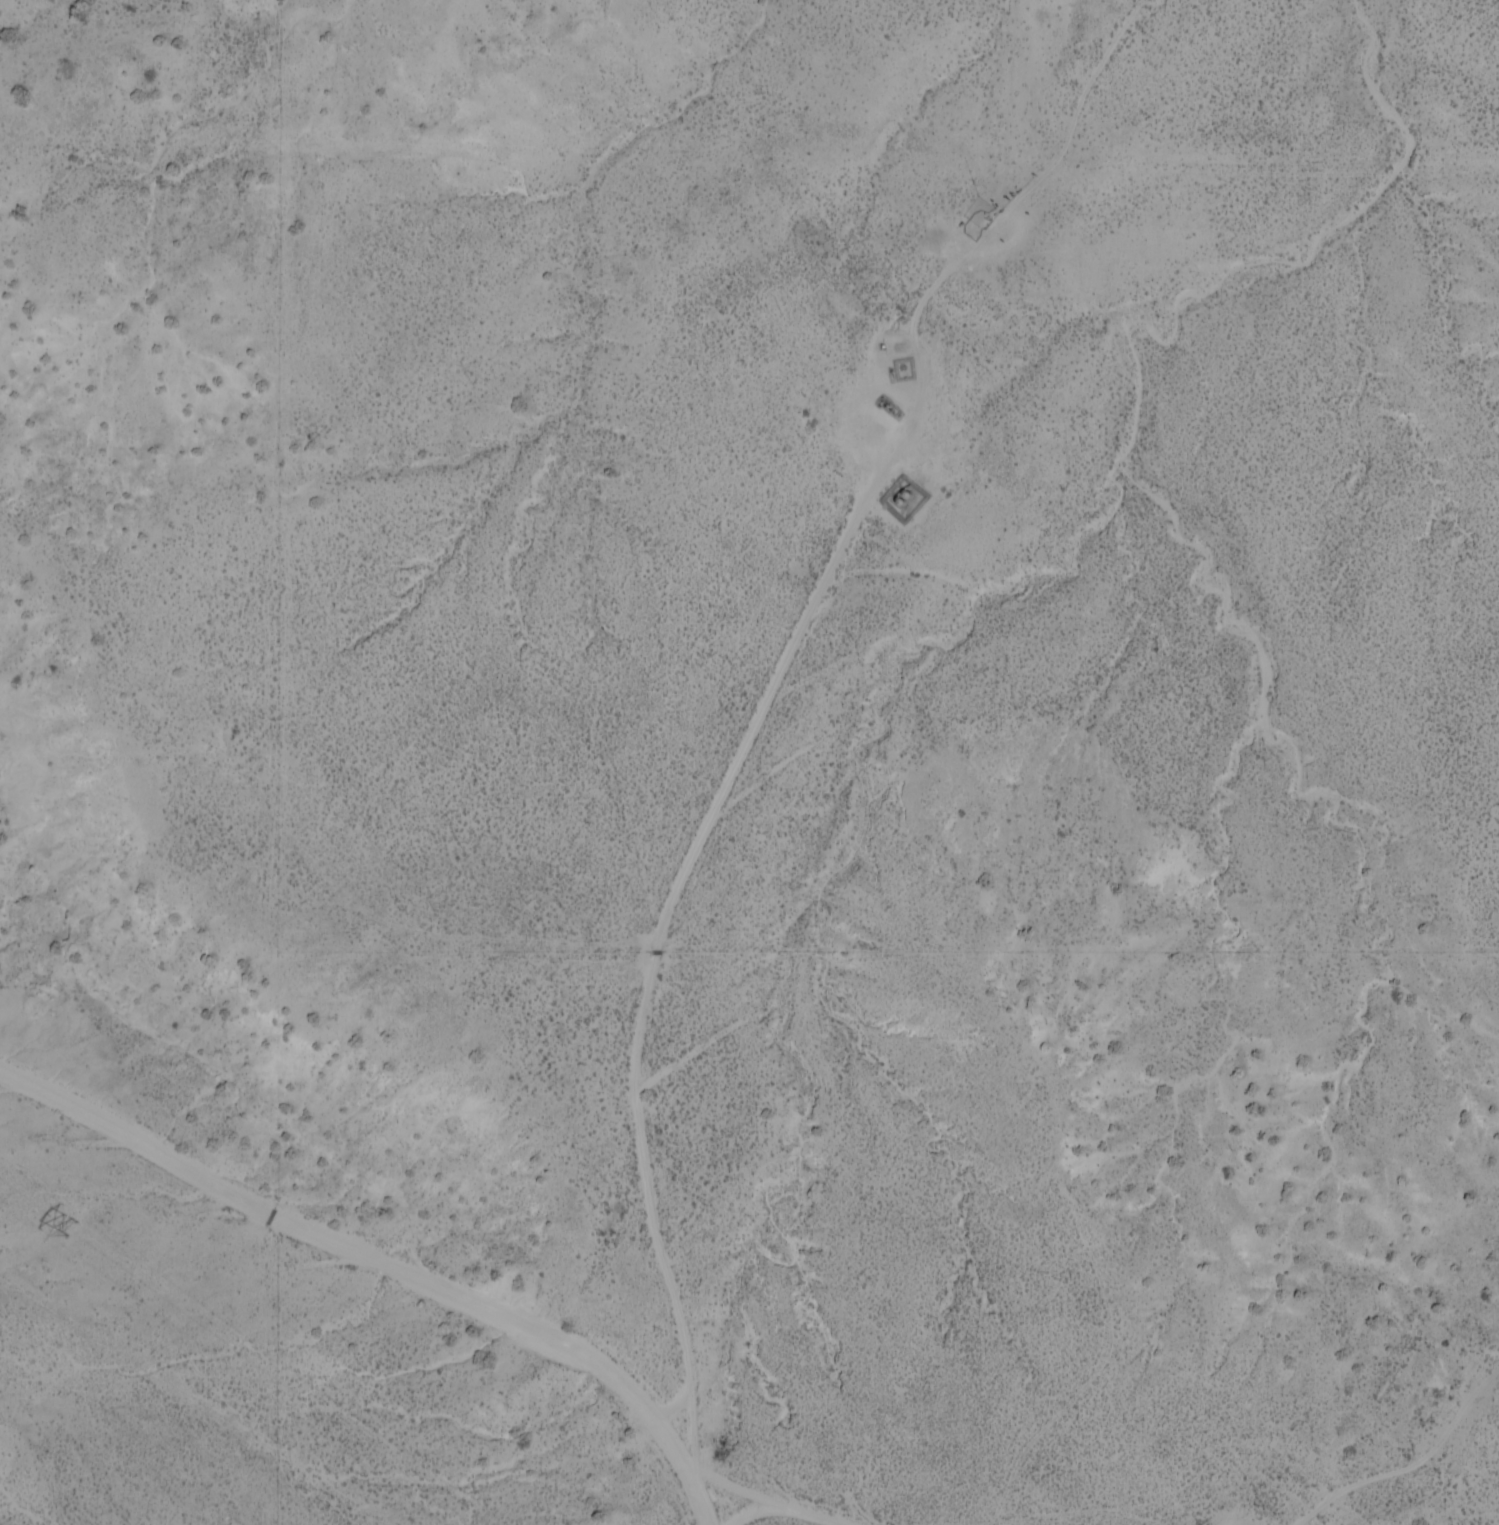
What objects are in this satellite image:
power tower: (69, 1231)
road: (387, 1263)

